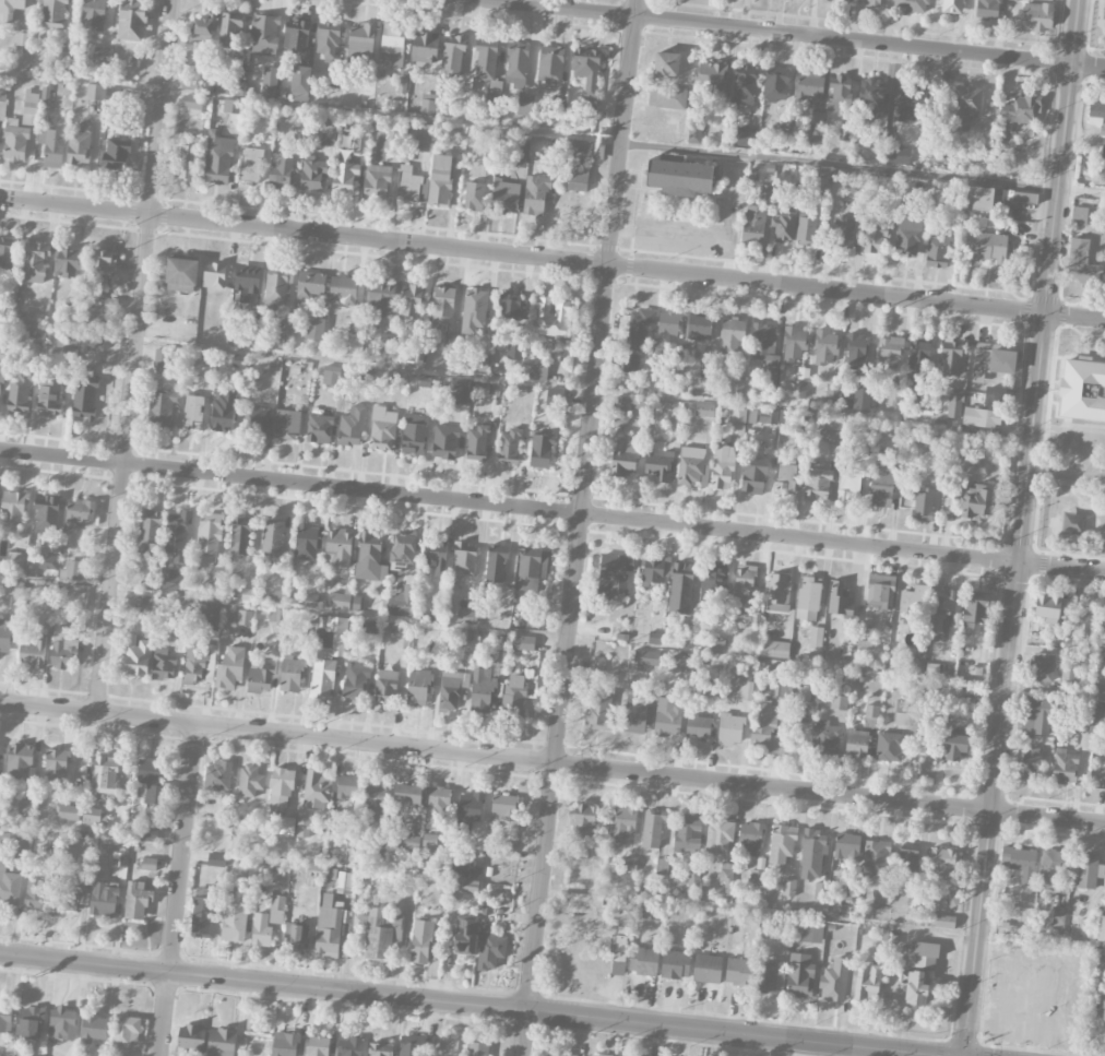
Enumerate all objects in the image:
building: (827, 0)
building: (870, 2)
building: (911, 7)
building: (952, 7)
building: (10, 9)
building: (988, 9)
building: (55, 13)
building: (1104, 13)
building: (94, 14)
building: (1038, 15)
building: (131, 20)
building: (230, 28)
building: (202, 29)
building: (264, 35)
building: (296, 35)
road: (792, 35)
building: (328, 39)
building: (360, 43)
building: (392, 46)
building: (424, 47)
building: (69, 52)
building: (102, 55)
building: (452, 57)
building: (485, 63)
building: (550, 63)
building: (516, 64)
building: (666, 64)
building: (586, 69)
building: (270, 79)
building: (711, 79)
building: (300, 83)
building: (775, 84)
building: (744, 85)
building: (809, 86)
building: (228, 88)
building: (95, 92)
building: (2, 93)
building: (840, 94)
building: (670, 97)
building: (494, 98)
building: (870, 99)
building: (910, 100)
building: (191, 104)
building: (34, 105)
building: (428, 105)
building: (524, 105)
building: (230, 106)
building: (558, 106)
building: (963, 107)
building: (587, 108)
building: (1020, 109)
building: (1096, 112)
building: (815, 130)
road: (552, 131)
building: (694, 133)
building: (746, 137)
building: (421, 138)
building: (328, 139)
building: (14, 141)
building: (782, 141)
building: (360, 142)
building: (79, 146)
building: (51, 147)
building: (583, 149)
building: (1103, 149)
building: (940, 152)
building: (115, 154)
building: (896, 155)
building: (520, 156)
road: (1064, 157)
building: (219, 158)
building: (187, 162)
building: (250, 164)
building: (281, 169)
building: (312, 175)
building: (679, 177)
building: (344, 178)
building: (578, 179)
building: (440, 180)
building: (377, 181)
building: (820, 183)
building: (411, 186)
building: (765, 193)
building: (535, 194)
building: (474, 195)
building: (506, 197)
building: (1017, 198)
building: (977, 199)
building: (1079, 215)
building: (753, 225)
building: (806, 232)
building: (843, 233)
building: (908, 233)
building: (875, 239)
building: (990, 247)
building: (937, 250)
road: (523, 256)
building: (7, 257)
building: (36, 262)
building: (99, 262)
building: (1082, 262)
building: (67, 263)
building: (181, 271)
building: (213, 275)
building: (247, 283)
building: (309, 286)
building: (276, 288)
building: (342, 290)
building: (381, 298)
building: (411, 301)
building: (442, 306)
building: (510, 308)
building: (474, 309)
building: (551, 317)
road: (1076, 317)
building: (314, 328)
building: (356, 328)
building: (639, 328)
building: (699, 328)
building: (284, 332)
building: (667, 335)
building: (33, 341)
building: (385, 342)
building: (451, 342)
building: (95, 344)
building: (794, 344)
building: (825, 347)
building: (765, 349)
building: (514, 351)
building: (856, 351)
building: (890, 353)
building: (417, 354)
road: (135, 356)
building: (918, 356)
building: (162, 357)
building: (206, 357)
building: (951, 357)
building: (993, 361)
building: (477, 363)
building: (630, 363)
building: (535, 369)
road: (430, 371)
building: (331, 375)
building: (397, 378)
building: (428, 381)
building: (800, 384)
building: (736, 387)
building: (910, 388)
building: (1082, 390)
building: (460, 391)
building: (15, 394)
building: (994, 396)
building: (554, 398)
building: (862, 398)
building: (49, 399)
building: (84, 400)
building: (621, 404)
building: (954, 404)
building: (924, 405)
building: (162, 408)
building: (704, 410)
building: (222, 411)
building: (192, 412)
building: (752, 416)
building: (768, 417)
building: (982, 417)
building: (256, 420)
building: (737, 420)
building: (286, 422)
building: (352, 427)
building: (319, 428)
building: (382, 428)
building: (832, 431)
road: (1070, 431)
building: (414, 435)
building: (444, 442)
building: (476, 443)
building: (509, 447)
building: (540, 451)
building: (625, 455)
building: (657, 464)
building: (692, 467)
building: (722, 467)
road: (1064, 472)
building: (753, 473)
building: (785, 477)
building: (818, 482)
building: (848, 485)
building: (882, 485)
building: (976, 502)
building: (922, 505)
building: (13, 507)
road: (552, 510)
building: (46, 512)
building: (78, 513)
road: (580, 527)
building: (150, 533)
building: (209, 533)
building: (178, 535)
building: (240, 536)
building: (272, 539)
building: (306, 542)
building: (338, 548)
building: (403, 548)
building: (369, 556)
building: (436, 556)
building: (465, 559)
building: (15, 561)
building: (48, 562)
building: (496, 563)
building: (531, 569)
building: (71, 570)
building: (616, 573)
building: (176, 580)
building: (716, 580)
building: (217, 581)
building: (745, 583)
building: (680, 589)
building: (880, 592)
building: (779, 593)
building: (14, 595)
building: (276, 596)
building: (808, 598)
building: (915, 598)
building: (839, 600)
building: (338, 601)
building: (401, 602)
building: (145, 604)
road: (284, 607)
building: (976, 609)
building: (1049, 609)
building: (437, 610)
building: (941, 613)
building: (594, 614)
building: (180, 615)
building: (209, 616)
building: (243, 617)
building: (466, 617)
building: (746, 617)
building: (370, 626)
building: (1082, 626)
building: (1102, 628)
building: (399, 629)
building: (602, 631)
building: (5, 636)
building: (654, 638)
building: (816, 638)
building: (526, 643)
building: (62, 649)
building: (775, 649)
building: (32, 653)
building: (906, 653)
building: (138, 656)
building: (650, 658)
building: (199, 661)
building: (681, 662)
building: (162, 665)
building: (597, 666)
building: (1042, 666)
building: (230, 668)
building: (322, 674)
building: (290, 675)
building: (259, 679)
building: (355, 680)
building: (1100, 684)
road: (1006, 685)
building: (385, 686)
building: (417, 687)
building: (450, 690)
building: (482, 690)
building: (745, 691)
road: (1055, 692)
building: (514, 693)
building: (805, 695)
building: (839, 702)
building: (598, 711)
building: (637, 714)
building: (769, 714)
building: (908, 714)
building: (1100, 714)
building: (870, 716)
building: (1036, 716)
building: (667, 717)
building: (698, 727)
building: (729, 729)
building: (825, 738)
building: (856, 744)
building: (954, 744)
building: (889, 747)
building: (19, 761)
road: (551, 762)
building: (1027, 763)
building: (55, 764)
building: (1064, 767)
building: (105, 774)
building: (217, 776)
building: (151, 779)
building: (249, 781)
building: (346, 786)
building: (281, 788)
building: (316, 790)
building: (407, 794)
building: (375, 799)
building: (436, 806)
building: (503, 807)
building: (24, 809)
building: (468, 810)
building: (67, 812)
building: (92, 815)
building: (583, 820)
building: (622, 823)
building: (87, 826)
building: (286, 826)
building: (302, 828)
building: (652, 829)
building: (687, 833)
building: (147, 834)
building: (718, 834)
building: (751, 838)
building: (407, 842)
building: (429, 842)
building: (782, 843)
building: (846, 846)
building: (380, 849)
building: (506, 849)
building: (811, 854)
building: (876, 857)
building: (119, 859)
building: (216, 859)
building: (907, 861)
building: (1020, 863)
building: (148, 864)
building: (630, 864)
building: (941, 864)
building: (662, 866)
building: (467, 868)
building: (1051, 868)
building: (1088, 871)
building: (726, 873)
building: (693, 875)
building: (345, 876)
building: (757, 877)
building: (9, 886)
building: (470, 887)
building: (788, 887)
building: (35, 890)
road: (178, 890)
building: (69, 894)
building: (439, 894)
building: (103, 899)
building: (584, 900)
building: (880, 900)
building: (136, 901)
road: (760, 912)
building: (203, 913)
building: (1102, 916)
building: (234, 918)
building: (1058, 919)
building: (268, 922)
building: (944, 922)
building: (330, 926)
building: (1000, 927)
building: (812, 932)
building: (375, 934)
building: (465, 935)
building: (298, 937)
building: (420, 941)
building: (490, 951)
building: (925, 954)
road: (146, 960)
road: (235, 961)
building: (643, 961)
road: (187, 964)
building: (675, 964)
building: (706, 969)
building: (739, 972)
building: (771, 975)
building: (799, 976)
road: (80, 977)
road: (1077, 980)
road: (263, 981)
building: (834, 981)
building: (867, 981)
road: (185, 982)
building: (916, 987)
parking lot: (1035, 997)
road: (334, 1006)
road: (997, 1008)
building: (1103, 1012)
building: (5, 1018)
building: (32, 1023)
building: (61, 1023)
building: (91, 1028)
building: (126, 1031)
road: (734, 1033)
building: (190, 1037)
building: (219, 1042)
building: (284, 1044)
building: (409, 1045)
building: (317, 1046)
building: (348, 1047)
building: (445, 1047)
building: (380, 1048)
building: (476, 1048)
building: (4, 1054)
building: (561, 1054)
building: (592, 1055)

